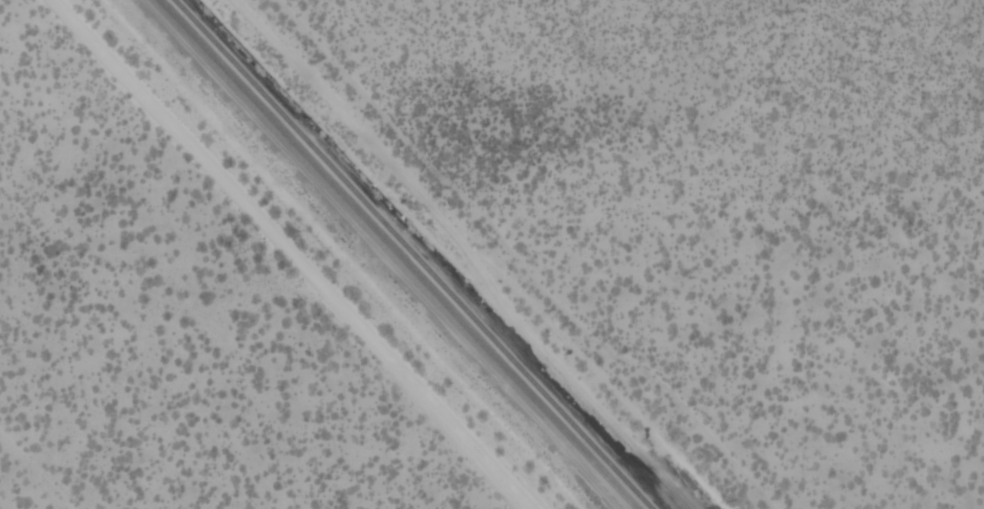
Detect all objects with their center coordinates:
road: (462, 249)
road: (246, 254)
railway: (395, 254)
railway: (410, 254)
road: (530, 256)
road: (33, 473)

